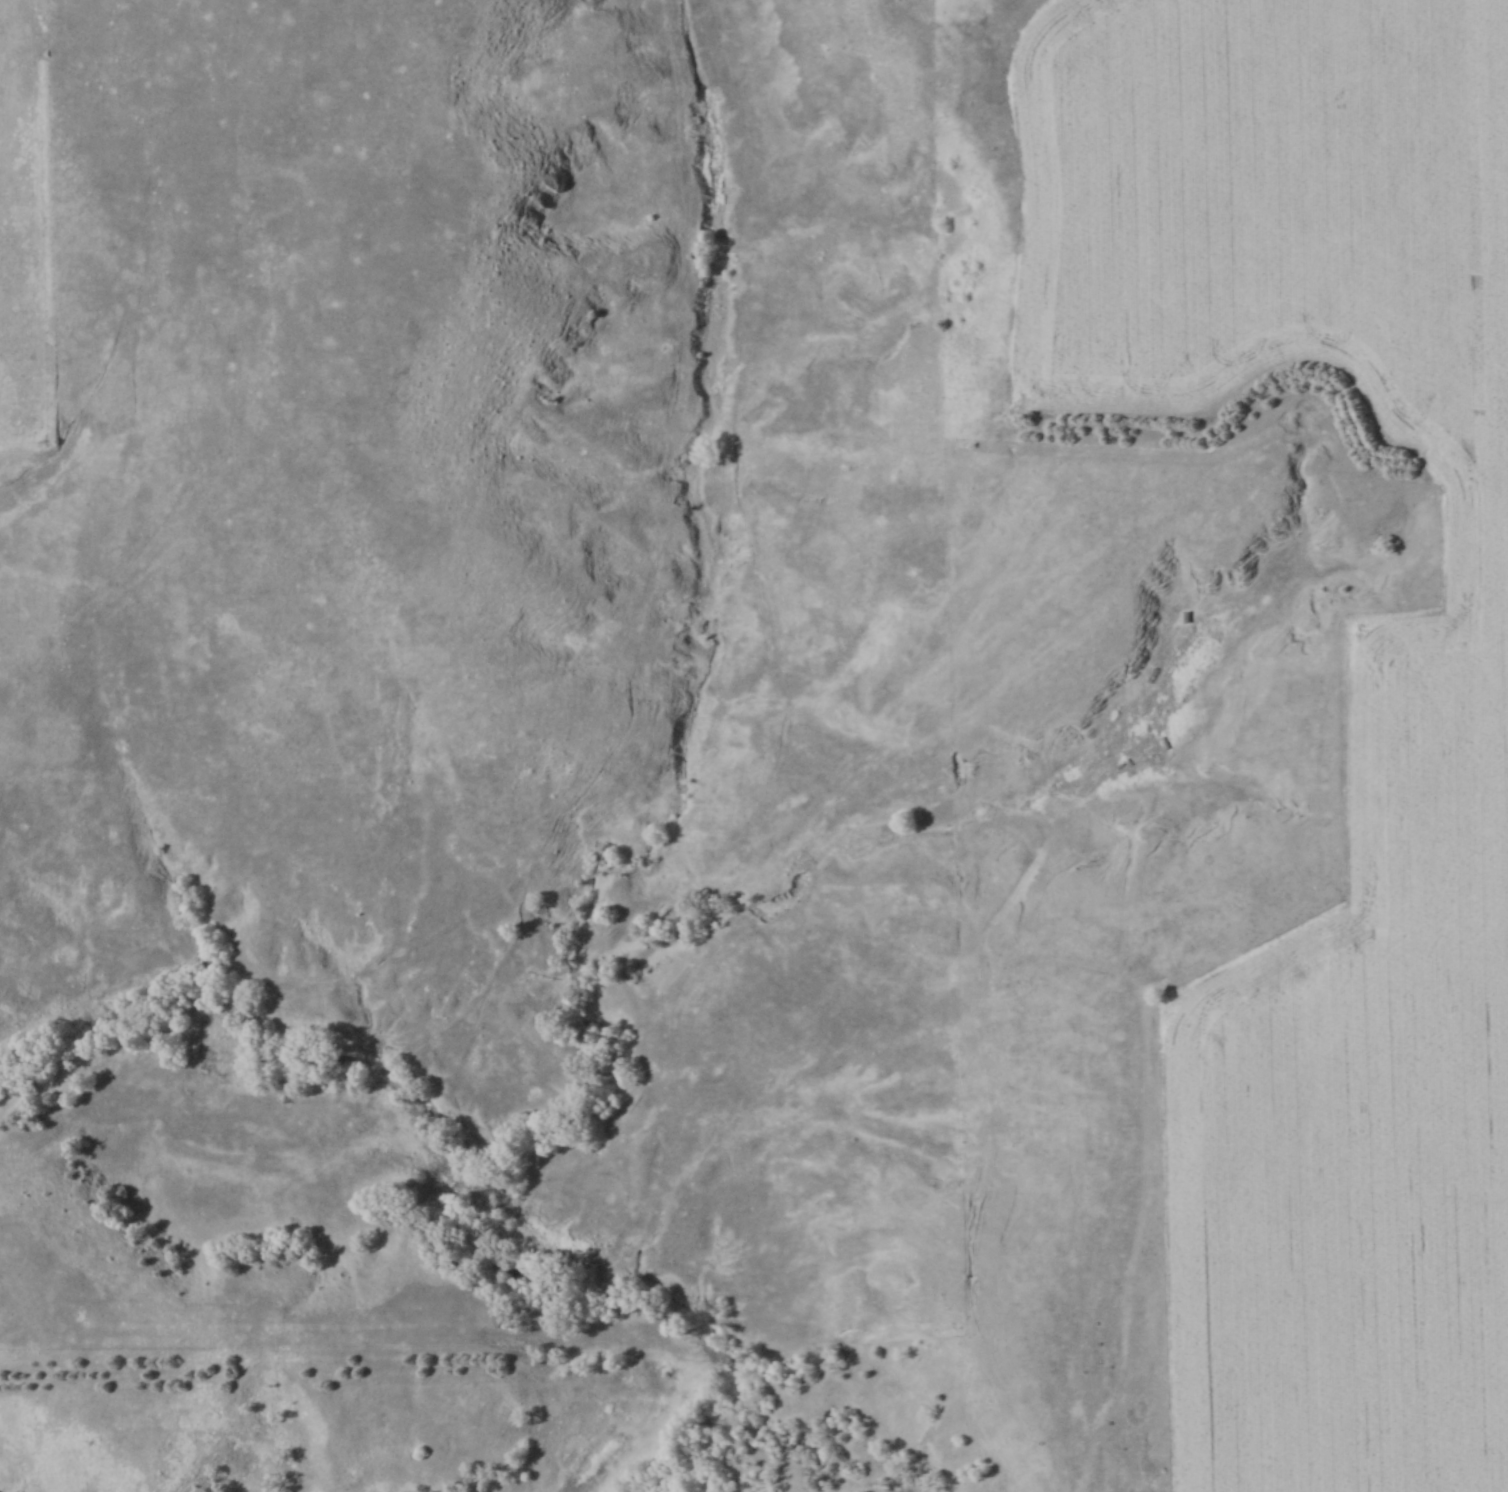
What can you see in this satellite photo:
crop: (1307, 322)

